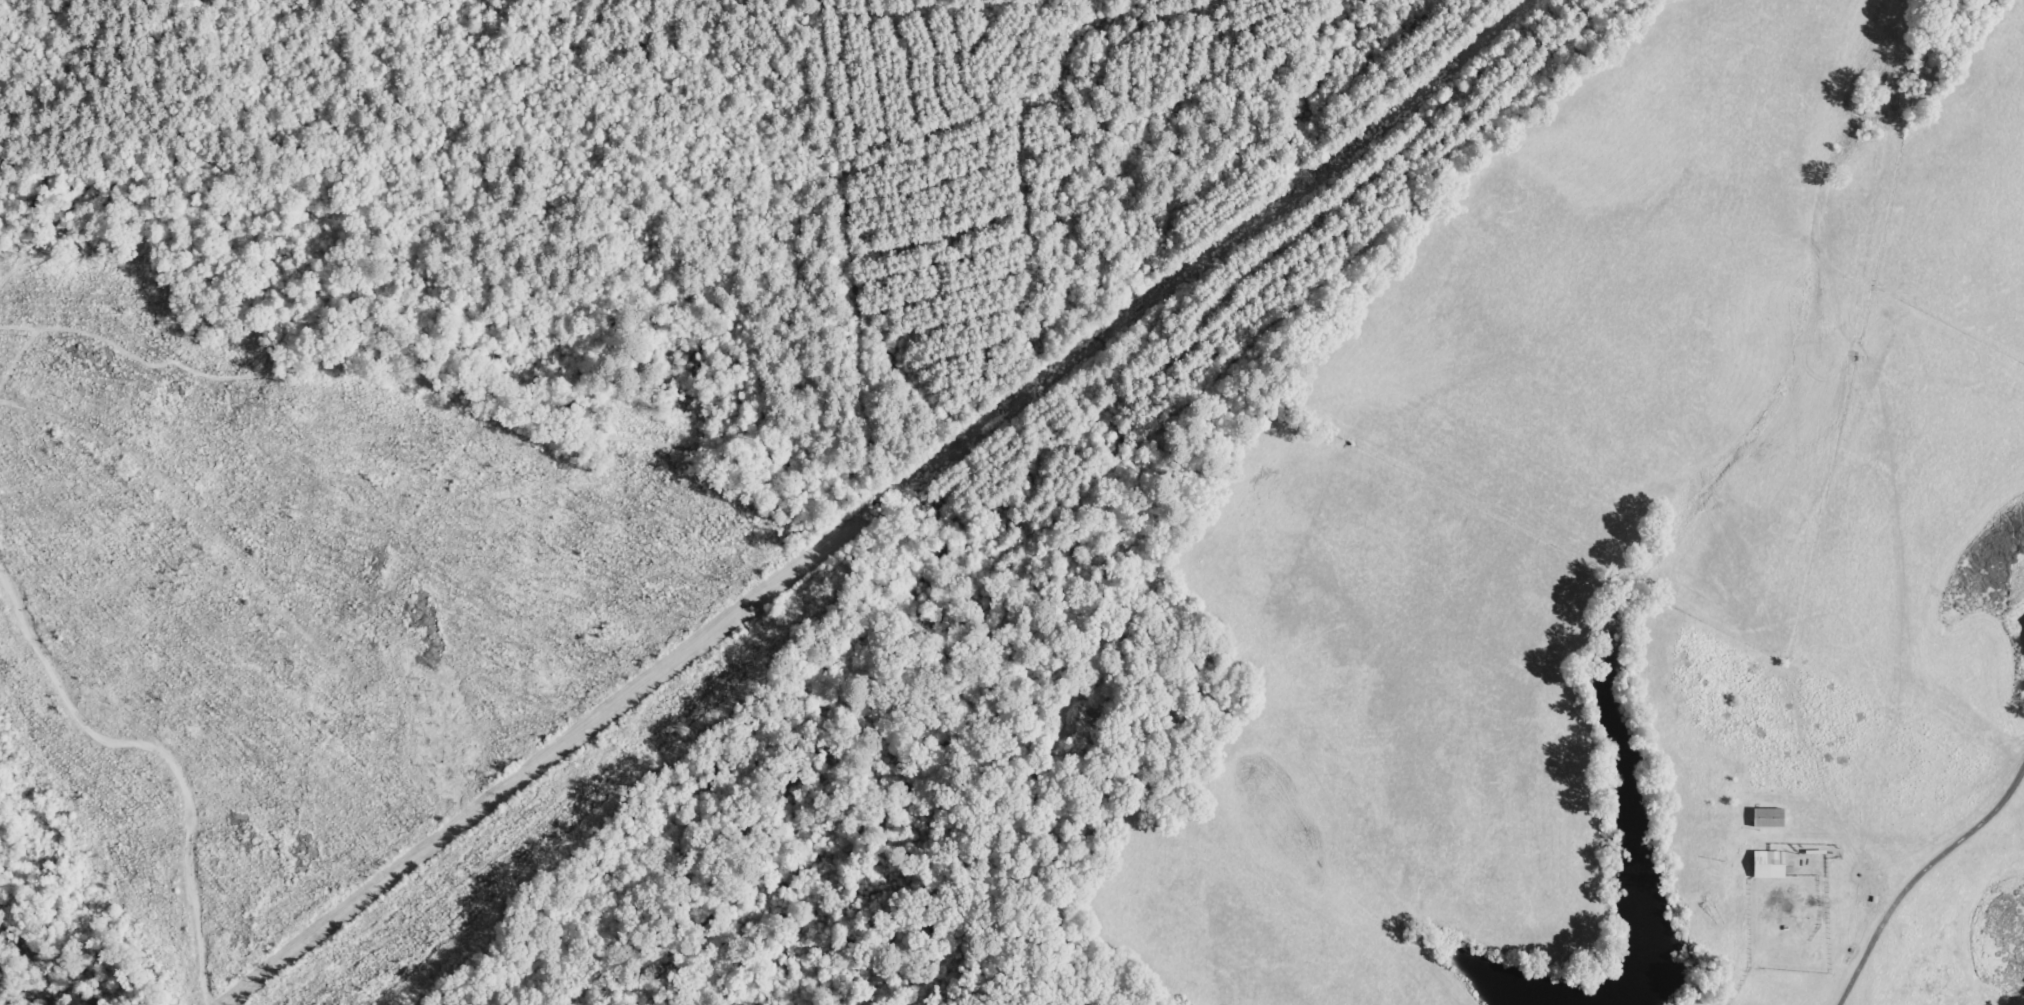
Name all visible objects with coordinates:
building: (1769, 818)
building: (1769, 865)

